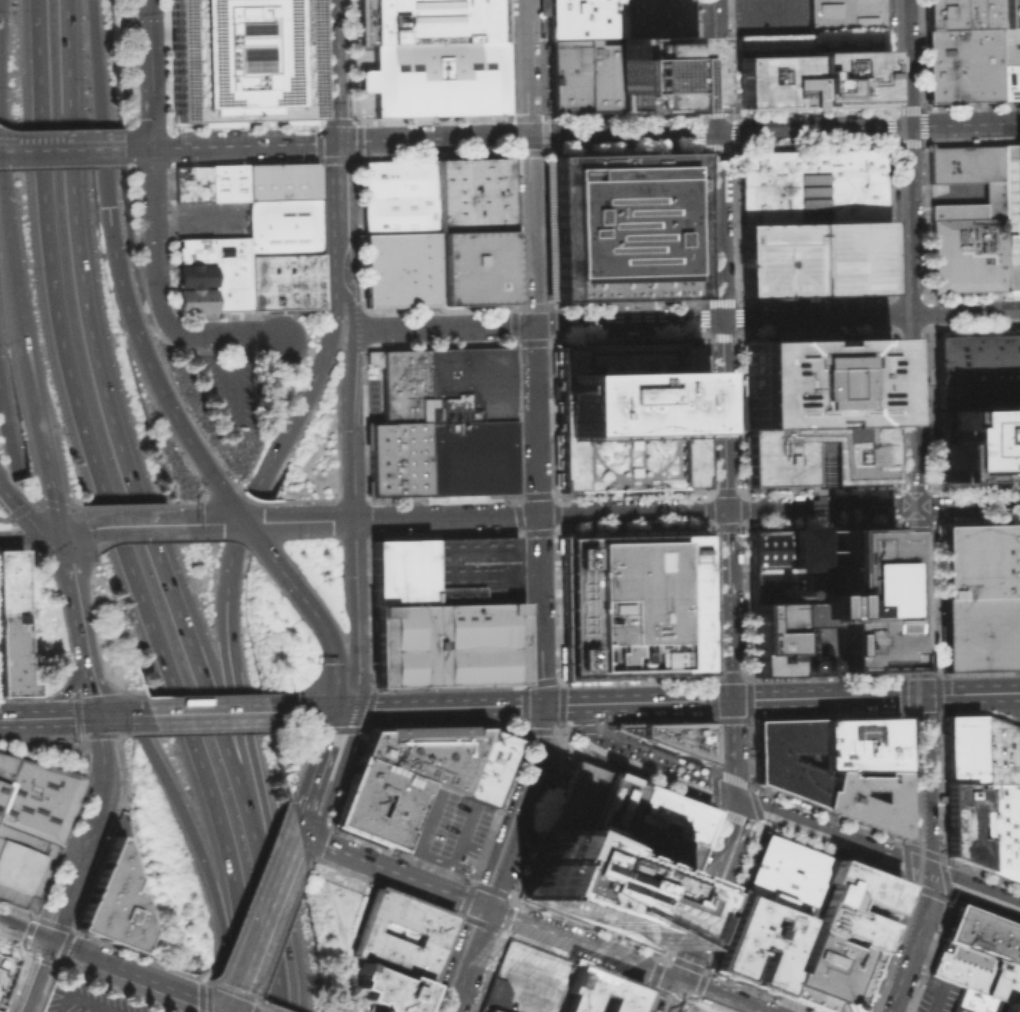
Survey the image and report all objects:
building: (1008, 13)
building: (961, 14)
road: (759, 16)
building: (843, 16)
parking lot: (770, 17)
building: (654, 18)
building: (582, 19)
building: (428, 20)
building: (1009, 45)
road: (887, 55)
building: (239, 59)
road: (904, 62)
building: (962, 64)
road: (715, 65)
road: (525, 67)
building: (808, 68)
road: (335, 70)
road: (147, 72)
building: (656, 73)
building: (603, 74)
building: (568, 75)
building: (435, 78)
building: (1018, 80)
building: (1008, 82)
road: (893, 86)
road: (97, 103)
road: (893, 109)
traffic signals: (907, 125)
road: (868, 126)
traffic signals: (717, 130)
road: (669, 131)
road: (574, 134)
traffic signals: (527, 135)
road: (480, 136)
road: (385, 139)
traffic signals: (338, 140)
road: (244, 142)
road: (127, 145)
road: (135, 145)
road: (88, 146)
road: (716, 147)
road: (28, 148)
road: (318, 150)
road: (545, 151)
road: (328, 160)
building: (964, 163)
road: (60, 164)
road: (129, 164)
building: (280, 179)
building: (225, 181)
building: (189, 182)
building: (812, 185)
road: (944, 186)
road: (339, 187)
building: (470, 193)
building: (397, 195)
building: (992, 199)
traffic signals: (107, 206)
building: (956, 210)
building: (1010, 214)
road: (134, 217)
parking lot: (208, 218)
road: (194, 220)
building: (281, 225)
road: (719, 225)
building: (619, 226)
road: (529, 229)
road: (151, 236)
road: (321, 236)
building: (191, 249)
building: (966, 254)
road: (333, 256)
building: (814, 257)
parking lot: (814, 257)
building: (472, 266)
building: (400, 268)
building: (228, 272)
building: (191, 274)
road: (8, 275)
building: (283, 279)
road: (354, 280)
building: (191, 299)
road: (347, 302)
road: (814, 306)
road: (294, 313)
road: (871, 316)
road: (626, 322)
road: (484, 325)
road: (394, 328)
road: (172, 331)
road: (230, 333)
road: (893, 333)
road: (234, 354)
building: (977, 371)
road: (223, 372)
road: (148, 375)
building: (400, 383)
building: (468, 383)
parking lot: (224, 384)
road: (306, 394)
road: (29, 399)
road: (3, 403)
building: (817, 409)
road: (895, 409)
road: (914, 410)
road: (723, 414)
building: (628, 415)
traffic signals: (7, 420)
road: (547, 423)
building: (977, 443)
railway: (899, 444)
road: (13, 449)
road: (118, 450)
building: (469, 456)
building: (397, 458)
road: (903, 462)
road: (347, 470)
road: (913, 486)
road: (46, 491)
road: (44, 503)
road: (896, 503)
road: (124, 505)
traffic signals: (916, 505)
road: (73, 508)
railway: (912, 509)
road: (684, 511)
road: (109, 512)
road: (537, 514)
road: (24, 515)
road: (265, 521)
road: (932, 521)
road: (819, 522)
road: (743, 524)
road: (132, 525)
road: (70, 531)
traffic signals: (57, 534)
road: (28, 535)
road: (827, 544)
building: (779, 546)
building: (1015, 556)
building: (473, 559)
building: (974, 559)
road: (806, 569)
building: (400, 571)
chimney: (786, 592)
building: (474, 593)
road: (745, 599)
building: (854, 600)
building: (632, 603)
road: (729, 604)
road: (310, 607)
parking lot: (443, 611)
building: (11, 624)
road: (76, 625)
building: (1016, 631)
building: (976, 633)
building: (781, 637)
building: (445, 643)
road: (352, 663)
road: (902, 675)
road: (559, 680)
road: (448, 685)
road: (523, 686)
road: (996, 692)
road: (946, 693)
traffic signals: (921, 695)
road: (826, 696)
traffic signals: (732, 700)
road: (651, 701)
road: (996, 702)
traffic signals: (542, 704)
road: (557, 704)
road: (560, 706)
road: (440, 707)
traffic signals: (338, 710)
road: (303, 711)
road: (963, 711)
road: (234, 712)
road: (173, 713)
road: (239, 714)
road: (122, 715)
road: (66, 716)
traffic signals: (96, 716)
road: (998, 716)
road: (1005, 716)
road: (748, 717)
road: (19, 718)
road: (444, 725)
road: (353, 728)
road: (288, 729)
building: (626, 729)
road: (213, 730)
road: (554, 730)
road: (82, 734)
road: (100, 734)
road: (115, 734)
road: (79, 736)
building: (679, 737)
building: (858, 744)
road: (88, 748)
building: (961, 748)
road: (50, 752)
building: (423, 753)
building: (787, 758)
road: (298, 763)
building: (5, 766)
building: (488, 768)
building: (1017, 768)
road: (317, 771)
road: (923, 783)
building: (1, 787)
building: (999, 796)
road: (999, 797)
traffic signals: (735, 798)
building: (38, 799)
building: (575, 799)
road: (739, 799)
building: (866, 799)
building: (354, 804)
road: (522, 806)
building: (603, 810)
building: (663, 811)
building: (963, 821)
parking lot: (445, 829)
road: (87, 830)
road: (421, 839)
road: (728, 842)
building: (1018, 845)
road: (456, 847)
building: (651, 848)
road: (481, 850)
road: (931, 854)
building: (23, 866)
road: (207, 869)
road: (390, 869)
traffic signals: (926, 872)
road: (980, 872)
building: (785, 875)
road: (1001, 878)
road: (87, 882)
road: (473, 884)
building: (602, 887)
road: (973, 889)
road: (249, 895)
road: (425, 901)
building: (110, 902)
building: (833, 904)
traffic signals: (488, 906)
road: (457, 912)
road: (260, 919)
road: (914, 927)
building: (983, 935)
building: (375, 940)
traffic signals: (46, 941)
building: (757, 944)
road: (278, 945)
road: (272, 948)
road: (470, 959)
road: (626, 959)
road: (105, 962)
building: (5, 967)
building: (976, 972)
building: (826, 973)
road: (32, 976)
traffic signals: (677, 978)
building: (525, 979)
parking lot: (525, 979)
building: (387, 989)
building: (596, 991)
road: (670, 994)
parking lot: (937, 995)
parking lot: (91, 997)
road: (888, 997)
building: (973, 1001)
road: (66, 1002)
road: (94, 1002)
road: (219, 1005)
building: (1004, 1007)
traffic signals: (228, 1008)
building: (485, 1009)
road: (227, 1010)
road: (232, 1010)
building: (372, 1011)

